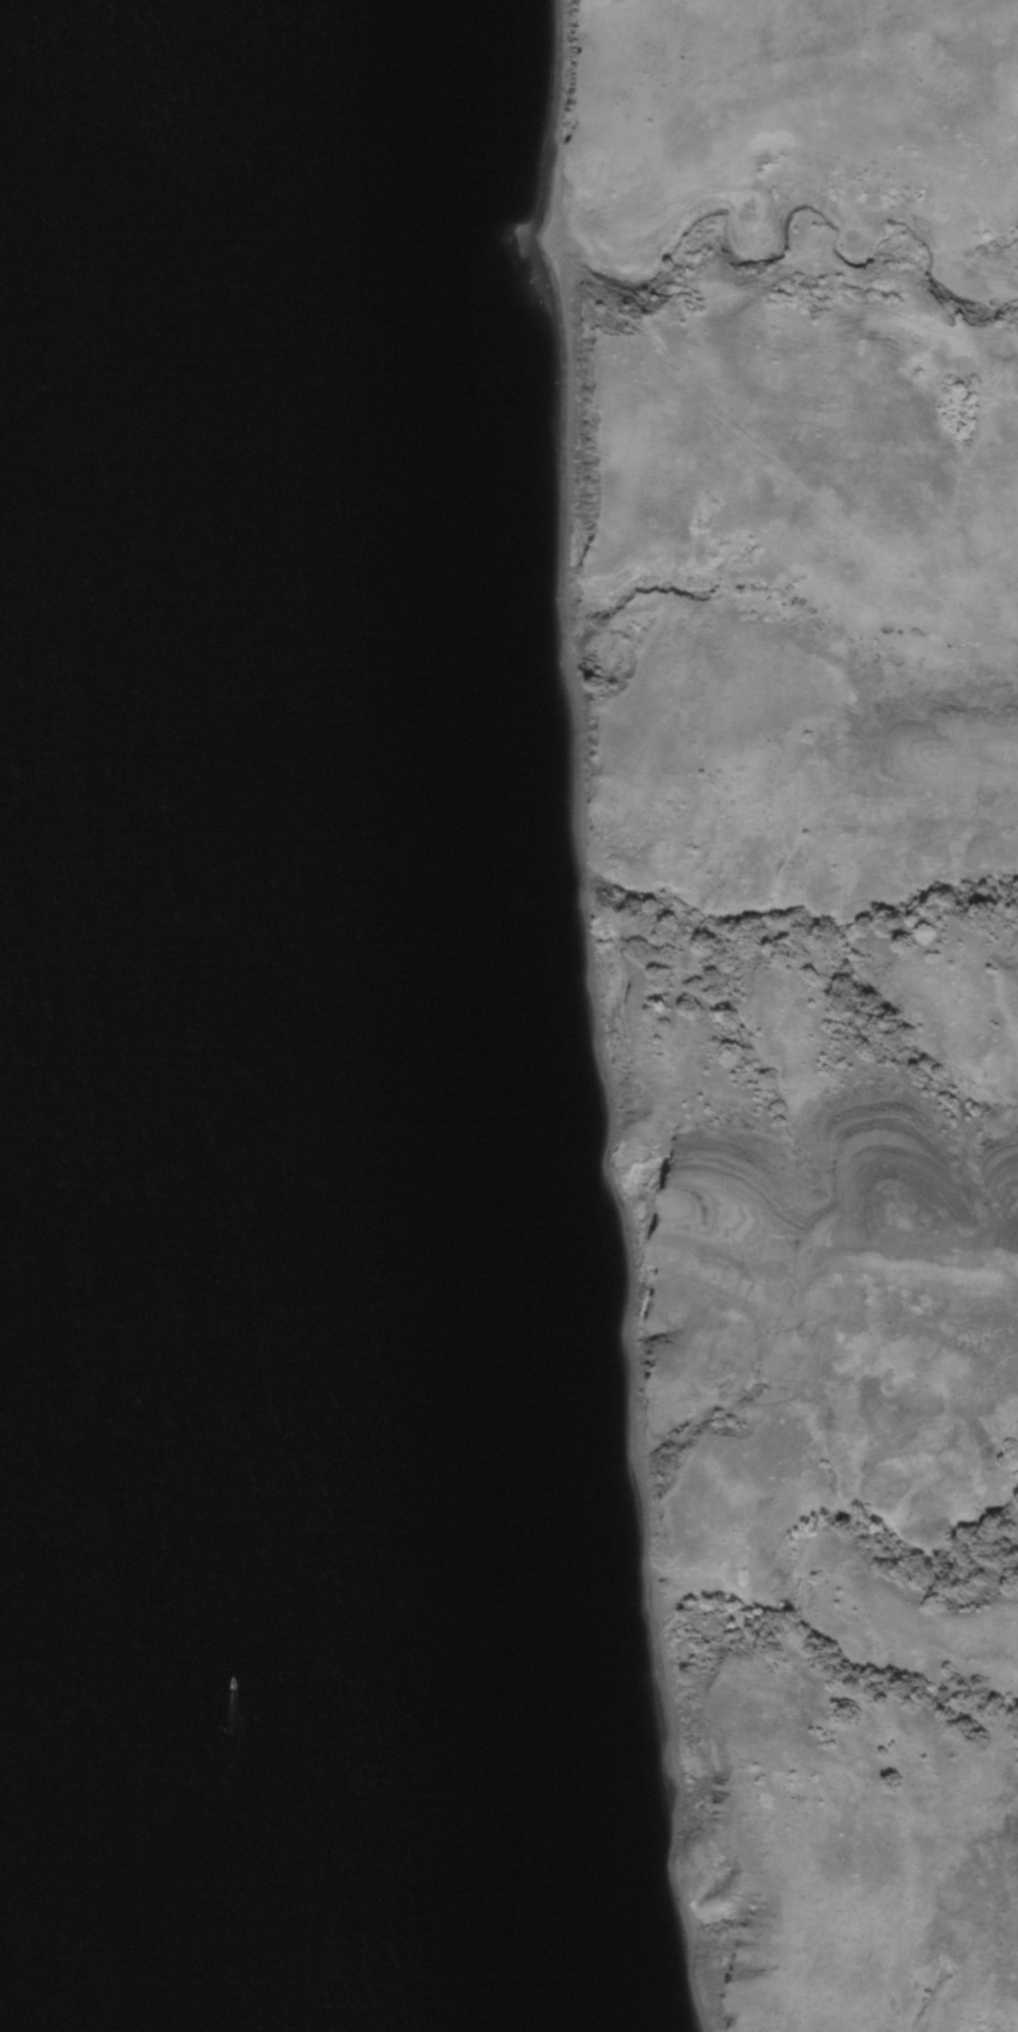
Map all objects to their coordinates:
river: (11, 1942)

